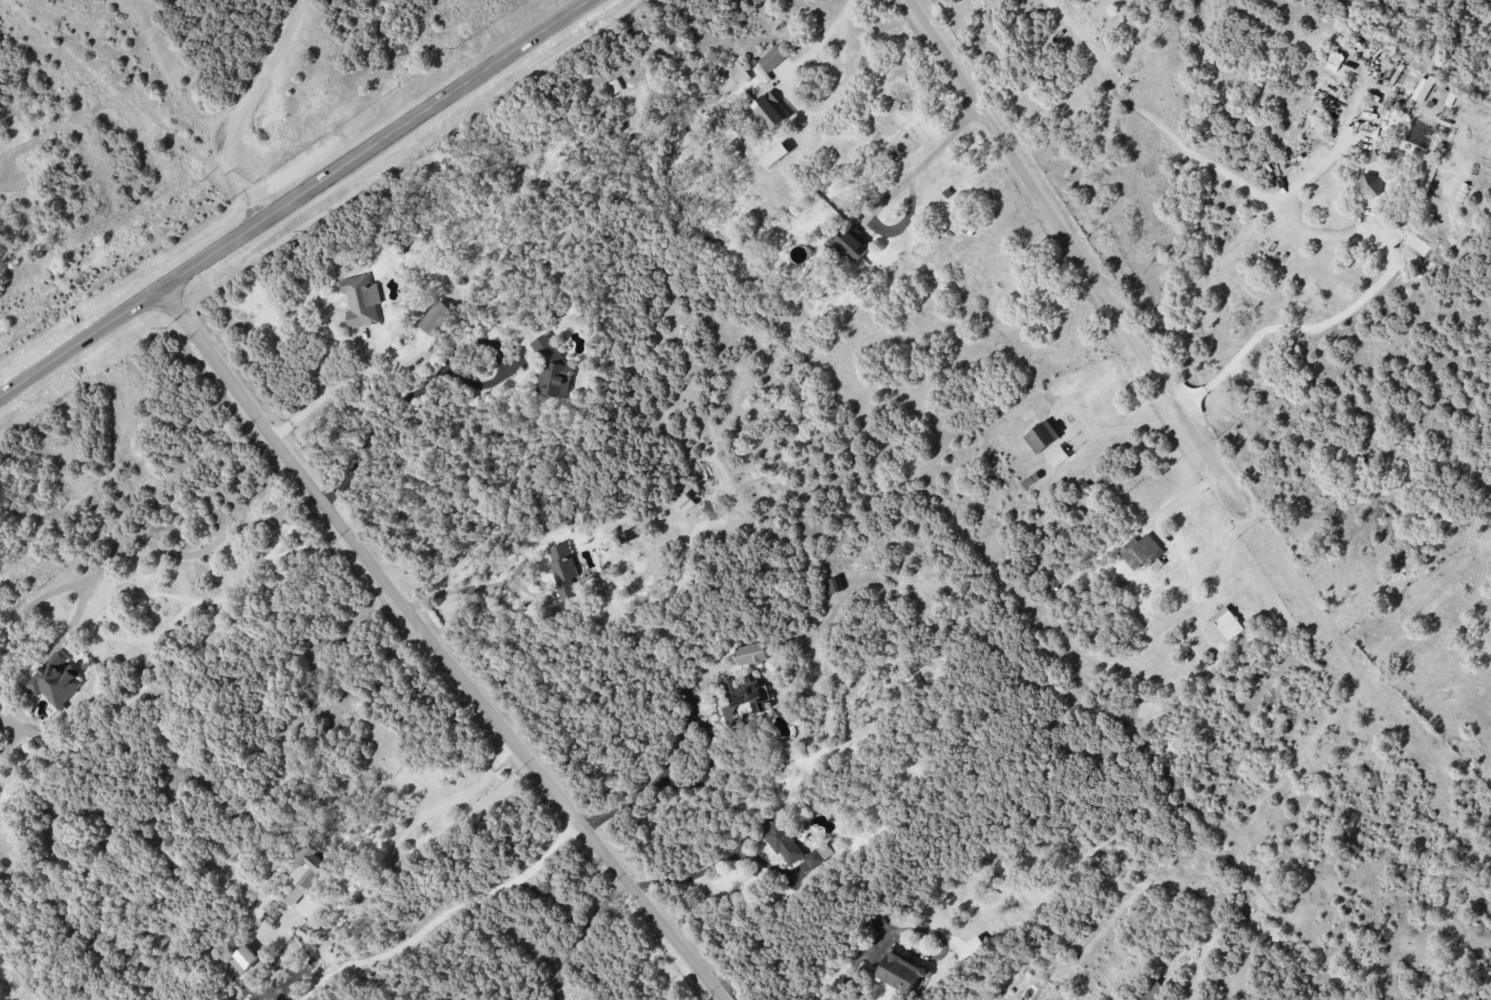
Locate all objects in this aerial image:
road: (829, 43)
building: (773, 58)
building: (1423, 89)
road: (237, 110)
building: (769, 111)
building: (775, 154)
building: (1378, 155)
road: (930, 156)
road: (1197, 157)
building: (1370, 185)
road: (296, 200)
building: (852, 242)
road: (1071, 246)
building: (362, 302)
building: (436, 316)
building: (551, 368)
road: (398, 400)
road: (311, 402)
road: (1082, 435)
building: (1042, 436)
building: (1057, 456)
building: (1030, 480)
building: (1085, 488)
road: (1179, 499)
building: (685, 503)
road: (134, 538)
road: (1230, 545)
building: (1140, 552)
building: (563, 570)
building: (832, 586)
road: (470, 589)
building: (528, 613)
building: (1225, 625)
road: (438, 648)
building: (750, 654)
building: (54, 680)
building: (741, 697)
road: (12, 733)
road: (681, 736)
road: (410, 825)
building: (794, 846)
building: (305, 873)
road: (682, 879)
road: (442, 914)
road: (580, 934)
building: (244, 959)
road: (854, 962)
building: (901, 972)
building: (1152, 991)

